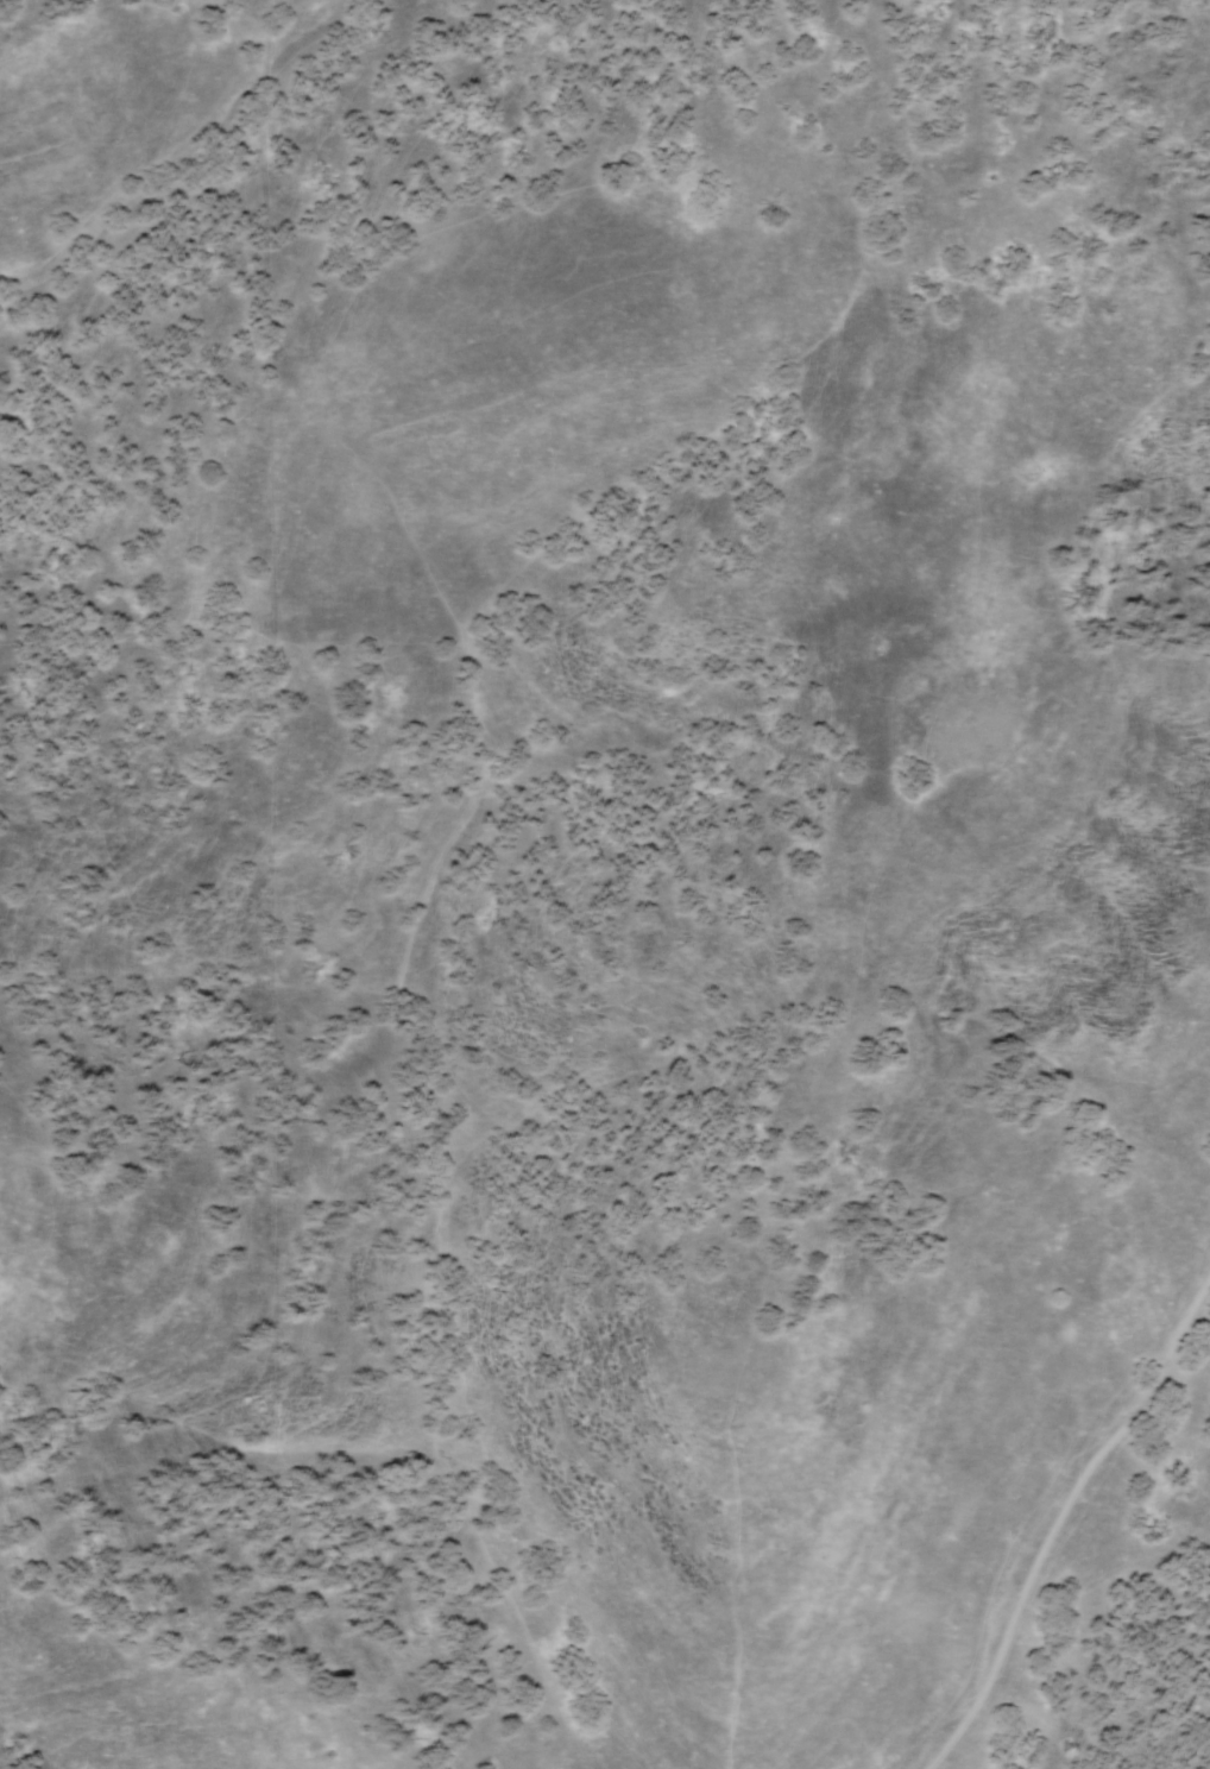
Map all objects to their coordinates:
road: (1055, 1522)

